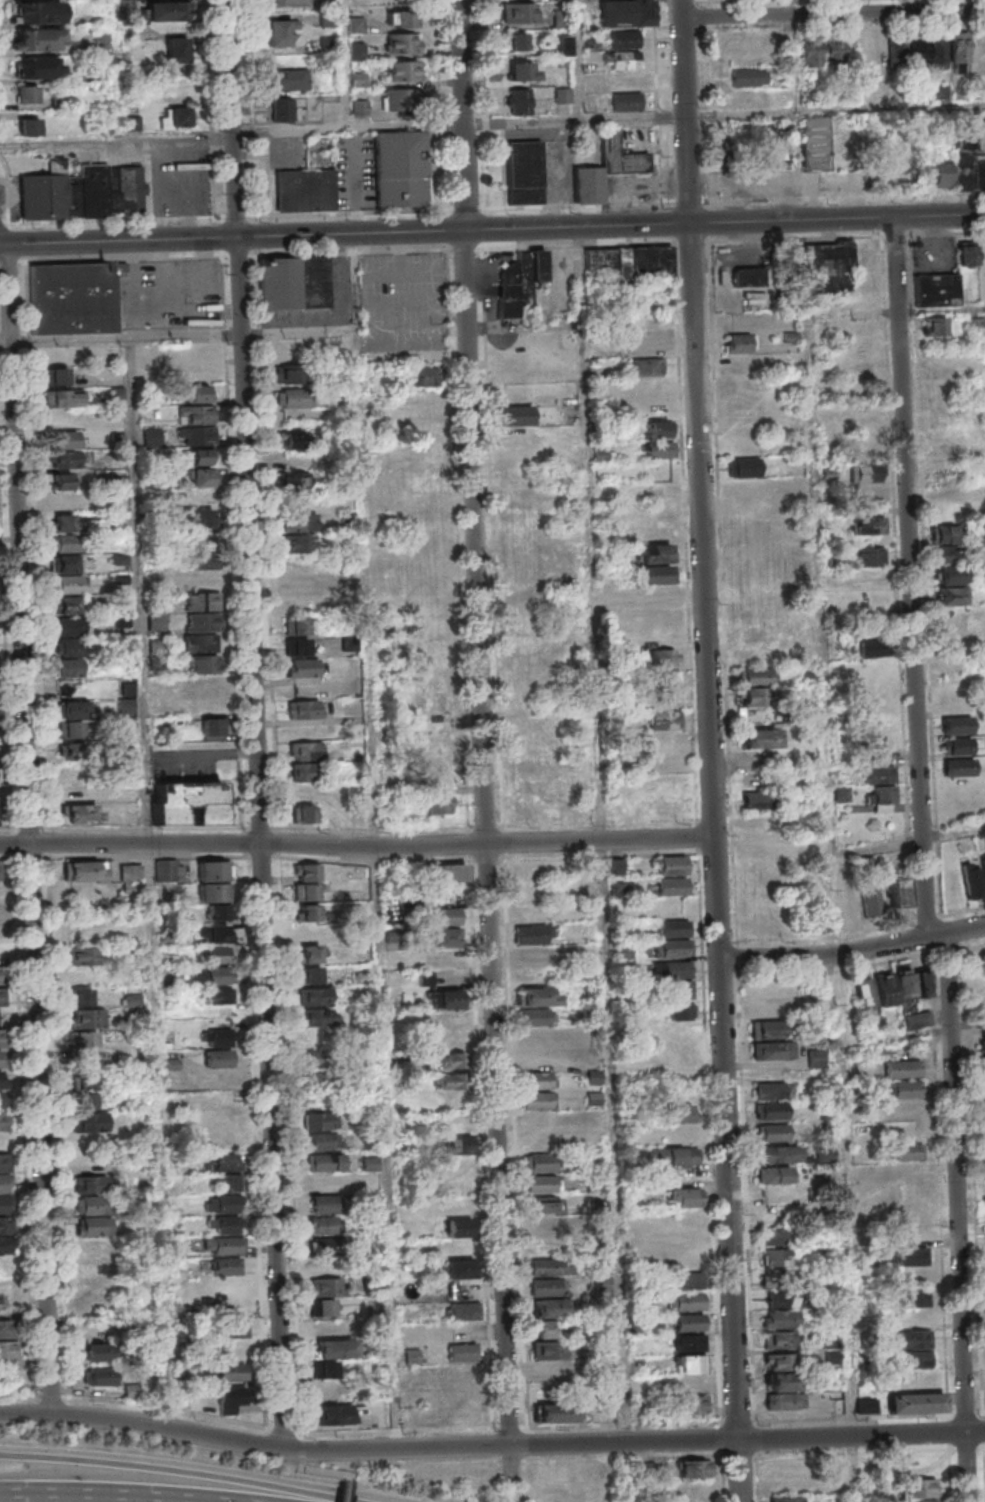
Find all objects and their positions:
building: (562, 0)
building: (289, 3)
road: (788, 7)
building: (36, 12)
building: (170, 12)
building: (518, 12)
building: (625, 13)
road: (832, 13)
building: (561, 17)
building: (403, 18)
building: (280, 32)
building: (37, 39)
building: (624, 39)
building: (516, 40)
building: (403, 42)
building: (564, 45)
building: (177, 49)
building: (875, 49)
building: (977, 49)
building: (834, 51)
building: (908, 51)
building: (938, 51)
building: (959, 51)
building: (811, 53)
road: (441, 59)
road: (579, 61)
road: (347, 64)
building: (39, 67)
building: (625, 69)
building: (403, 70)
building: (525, 70)
building: (749, 77)
building: (292, 81)
building: (27, 93)
building: (739, 98)
building: (401, 99)
building: (519, 101)
building: (627, 101)
building: (359, 107)
building: (280, 109)
road: (257, 110)
road: (214, 114)
road: (469, 114)
building: (174, 117)
road: (235, 118)
road: (610, 120)
building: (28, 126)
road: (118, 143)
building: (789, 148)
building: (967, 163)
building: (400, 168)
building: (606, 169)
building: (525, 172)
building: (941, 173)
road: (10, 187)
building: (305, 189)
building: (82, 191)
road: (262, 216)
road: (239, 217)
road: (114, 221)
road: (492, 228)
road: (947, 234)
road: (896, 235)
road: (795, 238)
building: (967, 252)
road: (882, 260)
building: (631, 262)
building: (842, 269)
building: (749, 276)
building: (520, 281)
building: (294, 283)
building: (938, 289)
building: (72, 298)
road: (944, 311)
road: (857, 315)
road: (174, 319)
building: (933, 326)
road: (178, 336)
building: (741, 343)
building: (647, 345)
road: (796, 357)
building: (647, 367)
building: (285, 373)
building: (55, 375)
building: (421, 376)
building: (198, 393)
building: (63, 397)
building: (292, 397)
building: (865, 414)
building: (196, 425)
building: (518, 425)
building: (658, 428)
building: (66, 438)
building: (290, 439)
building: (866, 448)
building: (660, 449)
building: (947, 449)
building: (200, 456)
building: (65, 459)
building: (744, 466)
building: (425, 469)
building: (828, 473)
building: (865, 473)
building: (202, 476)
building: (292, 479)
building: (62, 480)
building: (798, 484)
building: (753, 488)
building: (659, 489)
building: (944, 489)
building: (868, 494)
building: (521, 498)
building: (68, 500)
building: (198, 518)
building: (63, 522)
building: (300, 522)
building: (868, 525)
building: (751, 529)
building: (654, 532)
building: (946, 535)
building: (517, 540)
building: (66, 542)
building: (299, 543)
building: (867, 556)
building: (202, 560)
building: (656, 563)
road: (914, 576)
building: (300, 584)
building: (950, 585)
building: (201, 590)
building: (657, 595)
road: (723, 595)
building: (69, 615)
building: (660, 616)
building: (156, 622)
building: (203, 622)
building: (296, 625)
building: (437, 625)
building: (754, 633)
building: (662, 637)
building: (200, 642)
building: (526, 644)
building: (298, 646)
building: (663, 657)
building: (203, 664)
building: (302, 667)
building: (664, 678)
building: (204, 684)
building: (754, 686)
building: (126, 698)
building: (956, 703)
building: (305, 708)
building: (71, 717)
building: (665, 719)
building: (956, 725)
building: (211, 726)
building: (762, 738)
building: (957, 746)
building: (536, 747)
building: (307, 750)
road: (709, 750)
building: (886, 753)
building: (73, 761)
building: (958, 766)
building: (306, 771)
building: (440, 776)
building: (757, 779)
building: (881, 787)
building: (532, 789)
building: (841, 794)
building: (757, 799)
building: (189, 802)
building: (669, 802)
building: (440, 804)
building: (535, 811)
building: (81, 813)
building: (304, 813)
building: (758, 820)
road: (33, 828)
road: (603, 834)
road: (489, 837)
road: (907, 841)
building: (758, 842)
road: (264, 843)
road: (356, 846)
road: (601, 856)
building: (670, 865)
building: (617, 866)
building: (983, 867)
building: (85, 870)
building: (170, 870)
building: (214, 870)
building: (0, 871)
building: (307, 872)
building: (449, 872)
road: (831, 877)
building: (972, 879)
road: (154, 884)
building: (671, 885)
building: (620, 888)
road: (381, 889)
building: (897, 890)
building: (213, 892)
building: (307, 892)
building: (870, 897)
building: (849, 904)
building: (217, 910)
building: (0, 912)
building: (308, 912)
building: (532, 913)
building: (447, 916)
building: (672, 928)
road: (967, 931)
building: (212, 933)
building: (308, 933)
building: (86, 934)
building: (533, 934)
road: (940, 936)
building: (446, 937)
building: (671, 948)
building: (219, 954)
building: (308, 954)
building: (532, 955)
building: (84, 956)
building: (442, 957)
road: (825, 957)
road: (739, 961)
road: (911, 961)
building: (1, 965)
building: (210, 974)
building: (310, 974)
building: (79, 975)
road: (834, 975)
road: (741, 976)
building: (674, 986)
building: (890, 987)
building: (218, 995)
building: (314, 996)
building: (539, 996)
building: (3, 997)
building: (80, 997)
building: (447, 999)
building: (765, 1008)
building: (318, 1016)
building: (87, 1017)
building: (534, 1017)
building: (917, 1019)
building: (448, 1020)
building: (767, 1029)
building: (219, 1037)
building: (318, 1037)
building: (539, 1037)
road: (911, 1037)
building: (3, 1038)
building: (82, 1039)
building: (983, 1041)
building: (773, 1050)
building: (815, 1057)
building: (219, 1058)
building: (535, 1058)
building: (3, 1059)
building: (320, 1059)
building: (447, 1060)
building: (902, 1068)
building: (984, 1076)
building: (537, 1079)
building: (322, 1080)
building: (450, 1080)
building: (904, 1088)
building: (772, 1089)
building: (537, 1100)
building: (88, 1104)
building: (982, 1107)
building: (770, 1111)
building: (680, 1113)
building: (320, 1120)
building: (537, 1121)
building: (983, 1127)
building: (771, 1132)
building: (682, 1134)
road: (708, 1136)
building: (323, 1141)
road: (515, 1143)
building: (537, 1143)
building: (459, 1144)
building: (983, 1148)
building: (907, 1151)
building: (824, 1153)
road: (746, 1154)
building: (776, 1154)
building: (672, 1155)
building: (224, 1162)
building: (324, 1162)
building: (540, 1163)
building: (5, 1164)
building: (983, 1169)
building: (773, 1175)
building: (228, 1182)
building: (542, 1184)
building: (459, 1185)
building: (92, 1195)
building: (684, 1197)
building: (224, 1203)
building: (325, 1203)
building: (544, 1205)
road: (959, 1218)
building: (681, 1219)
building: (225, 1224)
building: (322, 1224)
building: (543, 1225)
building: (94, 1226)
building: (460, 1227)
building: (908, 1232)
building: (775, 1236)
building: (223, 1245)
building: (323, 1245)
building: (543, 1246)
building: (775, 1256)
building: (909, 1256)
building: (225, 1266)
building: (550, 1266)
building: (459, 1269)
building: (779, 1277)
building: (687, 1280)
building: (602, 1283)
building: (326, 1286)
building: (5, 1287)
building: (546, 1287)
building: (914, 1297)
building: (783, 1298)
building: (685, 1301)
building: (322, 1307)
building: (549, 1308)
building: (464, 1310)
building: (779, 1318)
building: (688, 1322)
building: (543, 1328)
building: (233, 1329)
building: (781, 1338)
building: (8, 1339)
building: (688, 1342)
building: (334, 1348)
building: (917, 1348)
building: (99, 1352)
building: (462, 1352)
building: (549, 1360)
building: (778, 1361)
building: (325, 1369)
building: (231, 1371)
building: (465, 1373)
building: (688, 1374)
building: (98, 1376)
building: (780, 1381)
building: (328, 1389)
building: (131, 1391)
road: (48, 1394)
building: (232, 1398)
building: (784, 1400)
building: (915, 1402)
building: (689, 1405)
building: (838, 1405)
road: (164, 1408)
building: (554, 1413)
building: (332, 1414)
road: (736, 1420)
road: (622, 1423)
road: (141, 1424)
road: (510, 1426)
road: (283, 1430)
road: (397, 1430)
road: (860, 1435)
road: (719, 1438)
road: (754, 1438)
road: (300, 1442)
road: (518, 1445)
road: (291, 1450)
road: (737, 1456)
road: (302, 1458)
building: (917, 1465)
road: (179, 1469)
road: (854, 1469)
building: (692, 1470)
road: (339, 1472)
road: (756, 1479)
building: (919, 1487)
building: (785, 1499)
road: (48, 1500)
building: (918, 1500)

